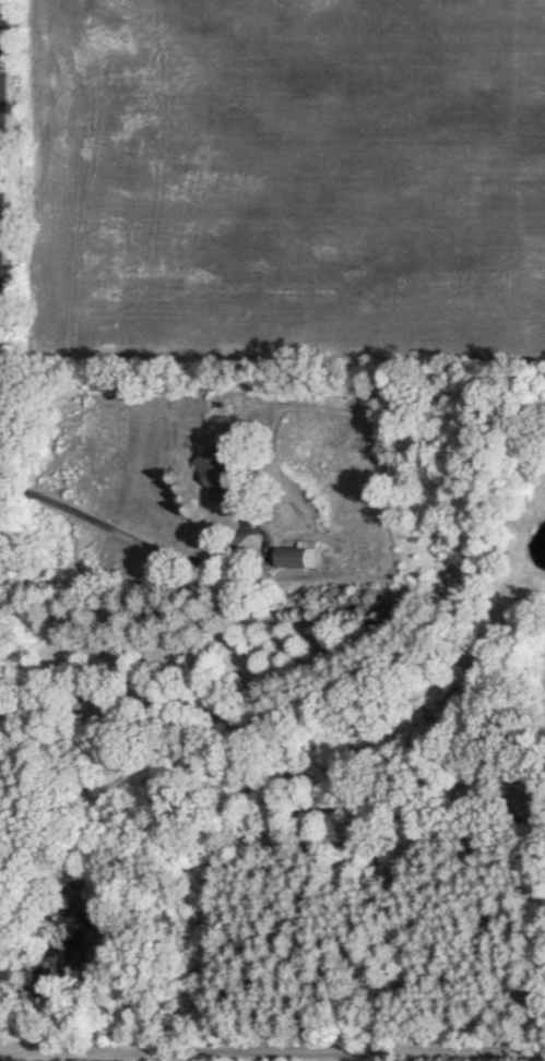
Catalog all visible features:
road: (1, 91)
building: (218, 474)
road: (121, 533)
building: (296, 557)
road: (247, 792)
road: (272, 1057)

